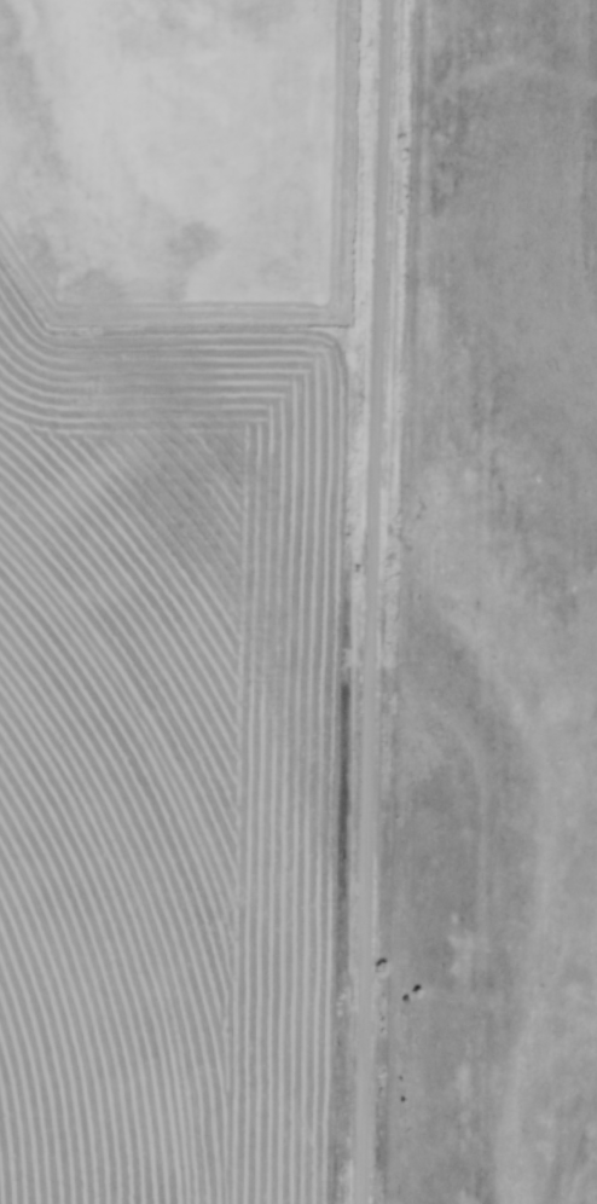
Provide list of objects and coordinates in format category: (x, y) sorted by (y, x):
road: (377, 602)

